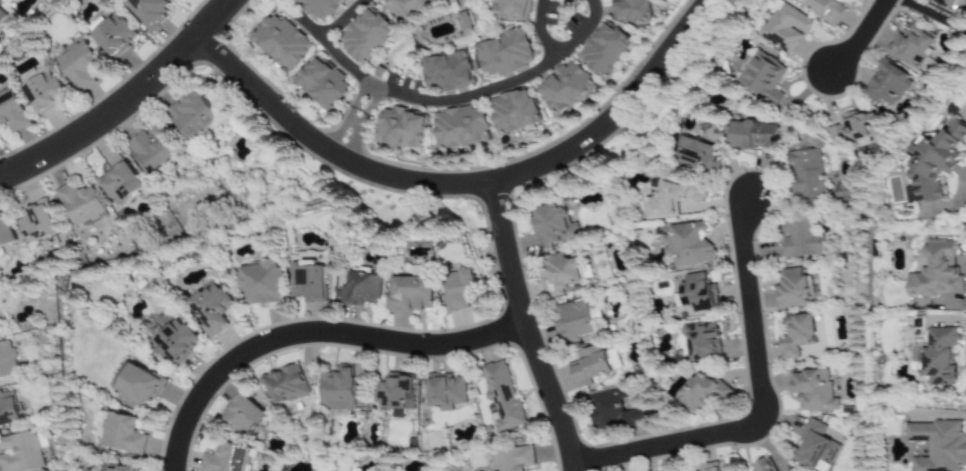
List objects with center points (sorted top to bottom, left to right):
building: (444, 0)
building: (7, 2)
building: (948, 4)
building: (320, 8)
building: (406, 8)
building: (509, 9)
building: (627, 9)
building: (826, 9)
building: (147, 11)
road: (932, 14)
building: (0, 15)
road: (345, 21)
building: (465, 21)
building: (785, 27)
building: (112, 35)
building: (364, 36)
road: (862, 36)
building: (281, 42)
building: (911, 48)
road: (559, 49)
building: (600, 51)
building: (502, 54)
building: (77, 66)
building: (445, 72)
building: (763, 77)
building: (320, 84)
building: (885, 85)
building: (561, 88)
building: (41, 91)
road: (124, 99)
road: (412, 101)
building: (190, 111)
building: (10, 112)
building: (511, 112)
road: (356, 124)
building: (457, 127)
building: (853, 128)
building: (399, 129)
building: (751, 135)
building: (153, 150)
building: (698, 155)
building: (934, 161)
building: (805, 177)
building: (120, 183)
road: (464, 184)
building: (841, 192)
building: (670, 200)
building: (80, 204)
building: (37, 223)
building: (554, 224)
building: (5, 231)
building: (800, 238)
building: (687, 244)
building: (938, 271)
building: (559, 274)
building: (261, 281)
building: (308, 281)
building: (460, 288)
building: (364, 289)
building: (793, 289)
building: (698, 293)
building: (413, 294)
building: (212, 308)
building: (574, 320)
road: (522, 329)
road: (310, 332)
building: (796, 335)
building: (177, 341)
building: (702, 341)
building: (937, 356)
building: (6, 361)
building: (593, 365)
building: (284, 384)
building: (142, 385)
building: (813, 390)
building: (339, 391)
building: (446, 391)
building: (702, 393)
building: (396, 394)
building: (501, 397)
road: (759, 402)
building: (7, 408)
building: (608, 408)
building: (241, 415)
building: (123, 433)
building: (938, 445)
building: (815, 447)
building: (19, 453)
building: (224, 459)
building: (512, 459)
building: (763, 465)
building: (707, 467)
building: (123, 469)
building: (675, 470)
building: (735, 470)

